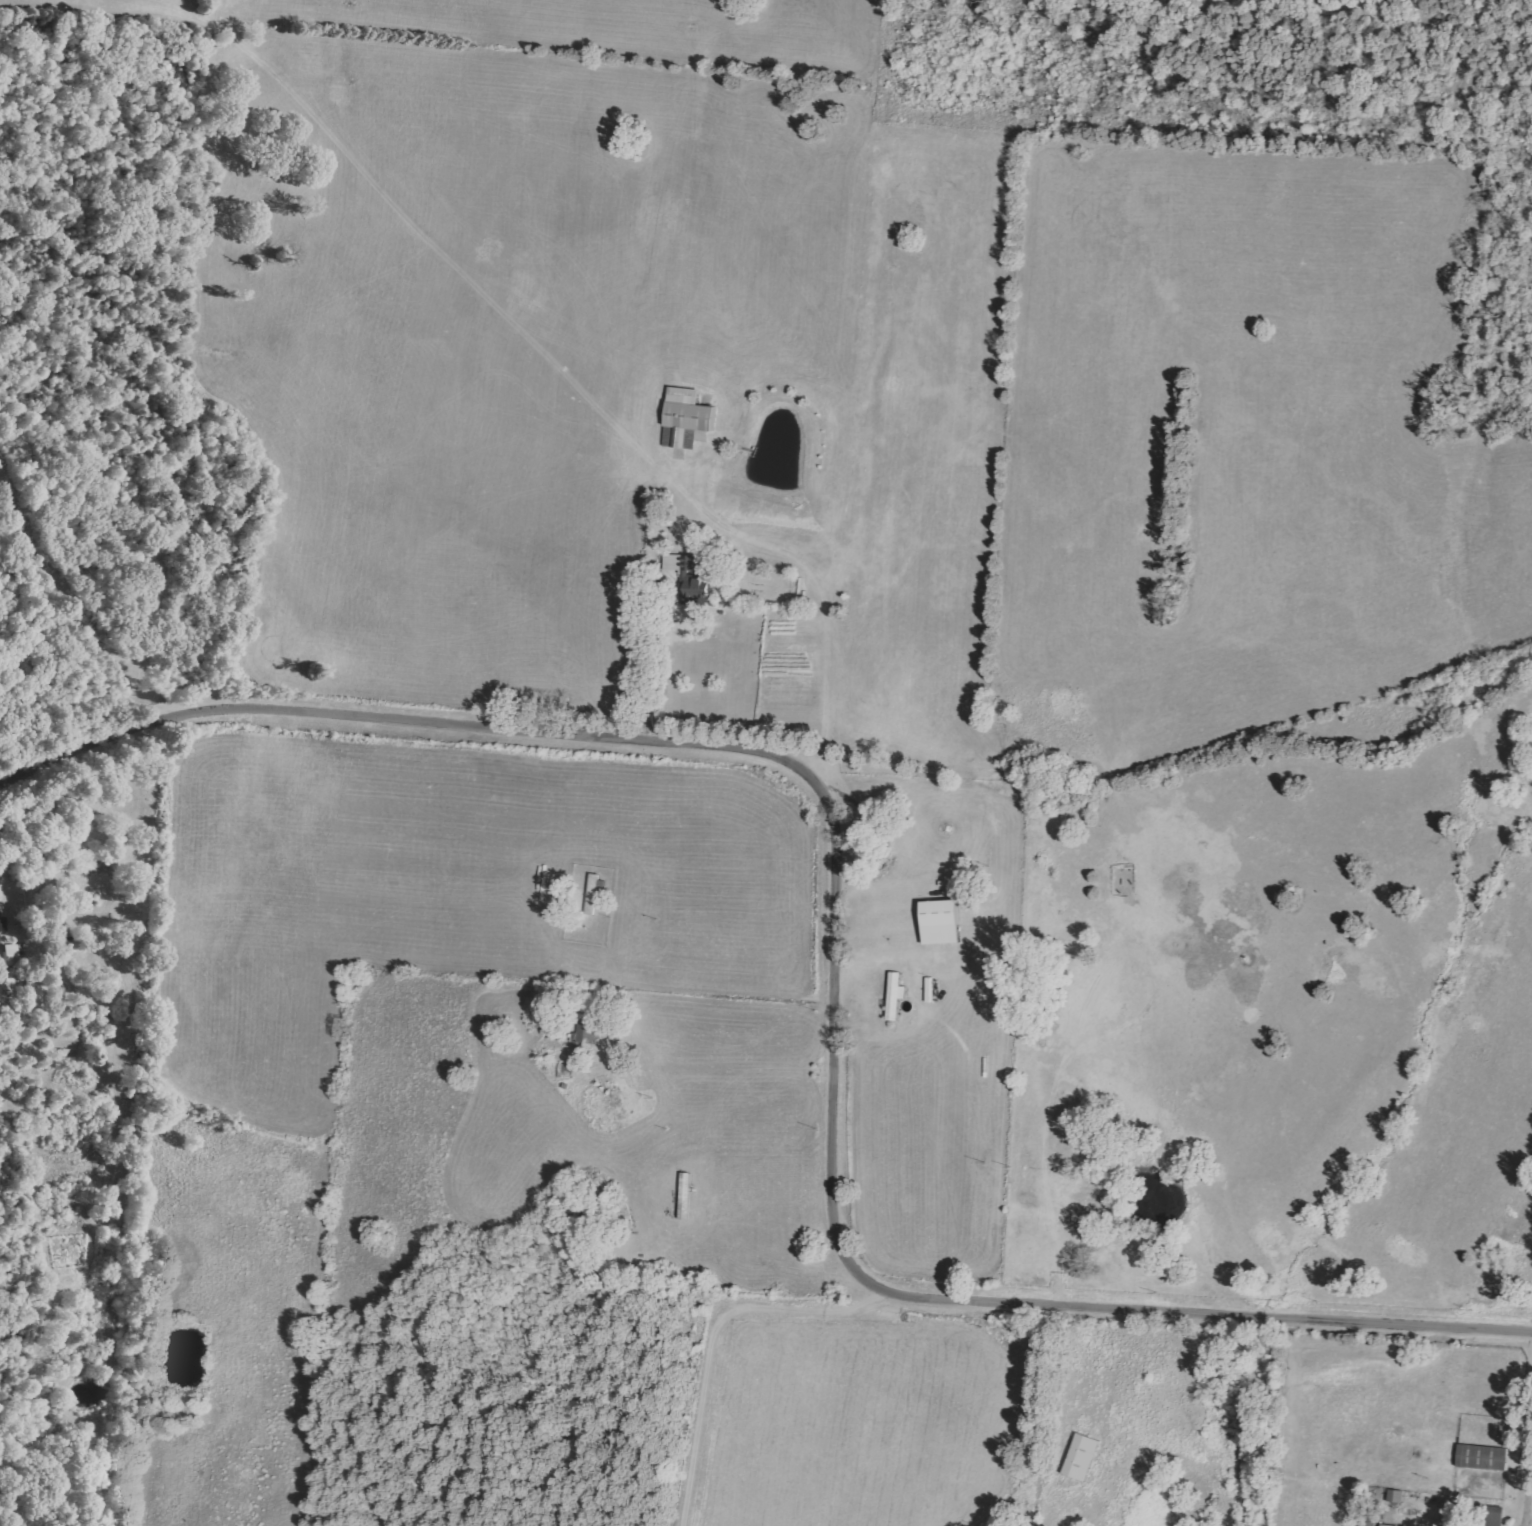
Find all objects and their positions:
building: (685, 415)
building: (683, 568)
road: (88, 827)
building: (938, 922)
road: (833, 953)
building: (8, 954)
building: (893, 995)
building: (29, 996)
building: (586, 1033)
building: (1079, 1457)
building: (1481, 1457)
road: (1529, 1462)
building: (1394, 1496)
building: (1385, 1525)

